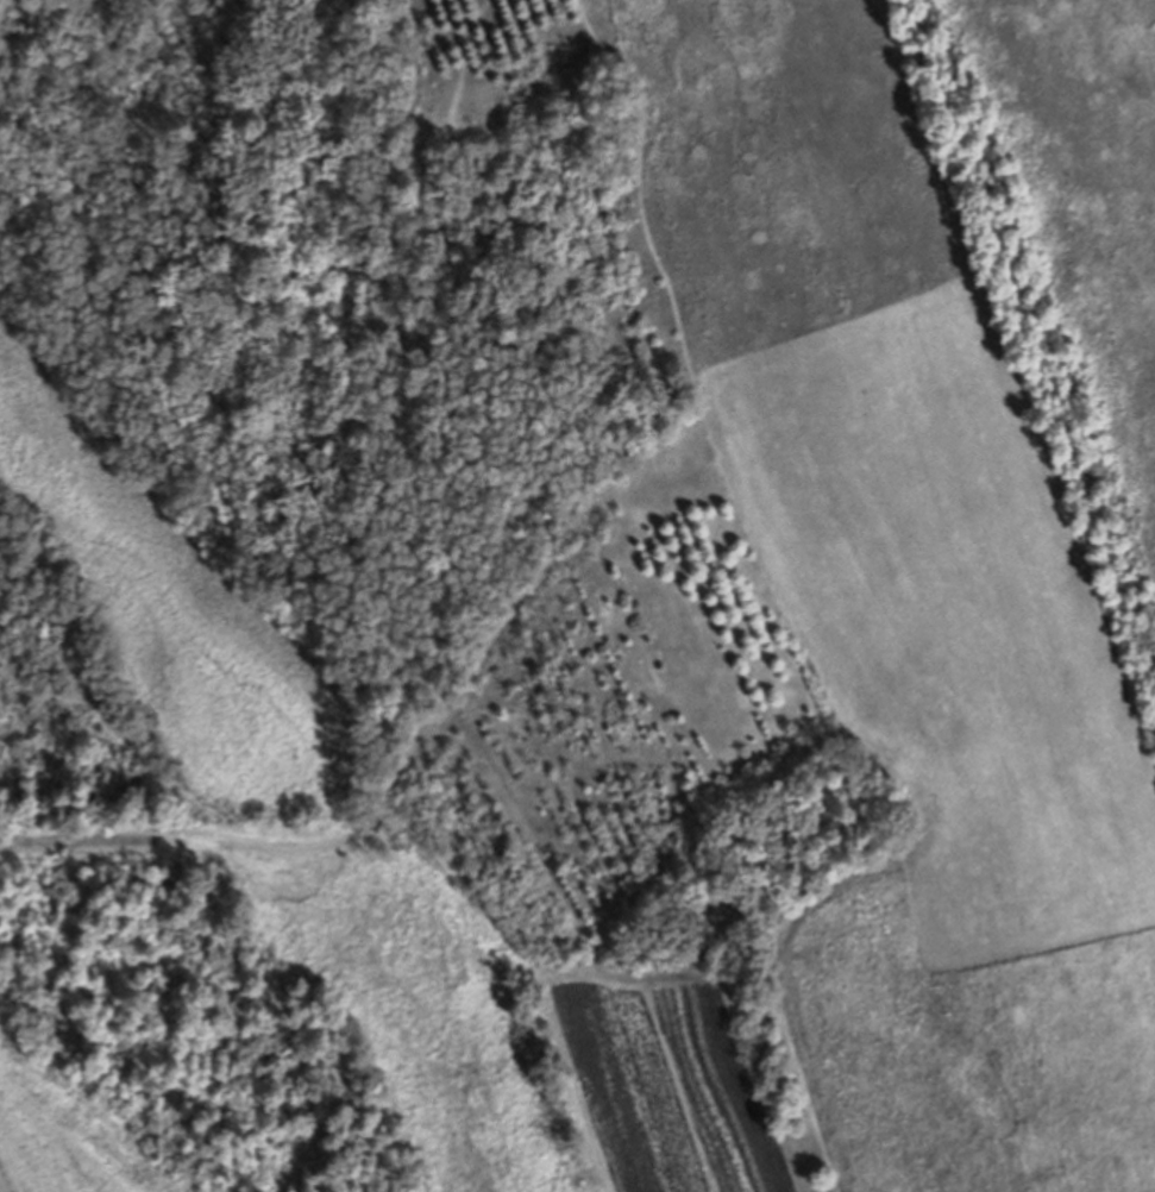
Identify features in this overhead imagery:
road: (795, 989)

